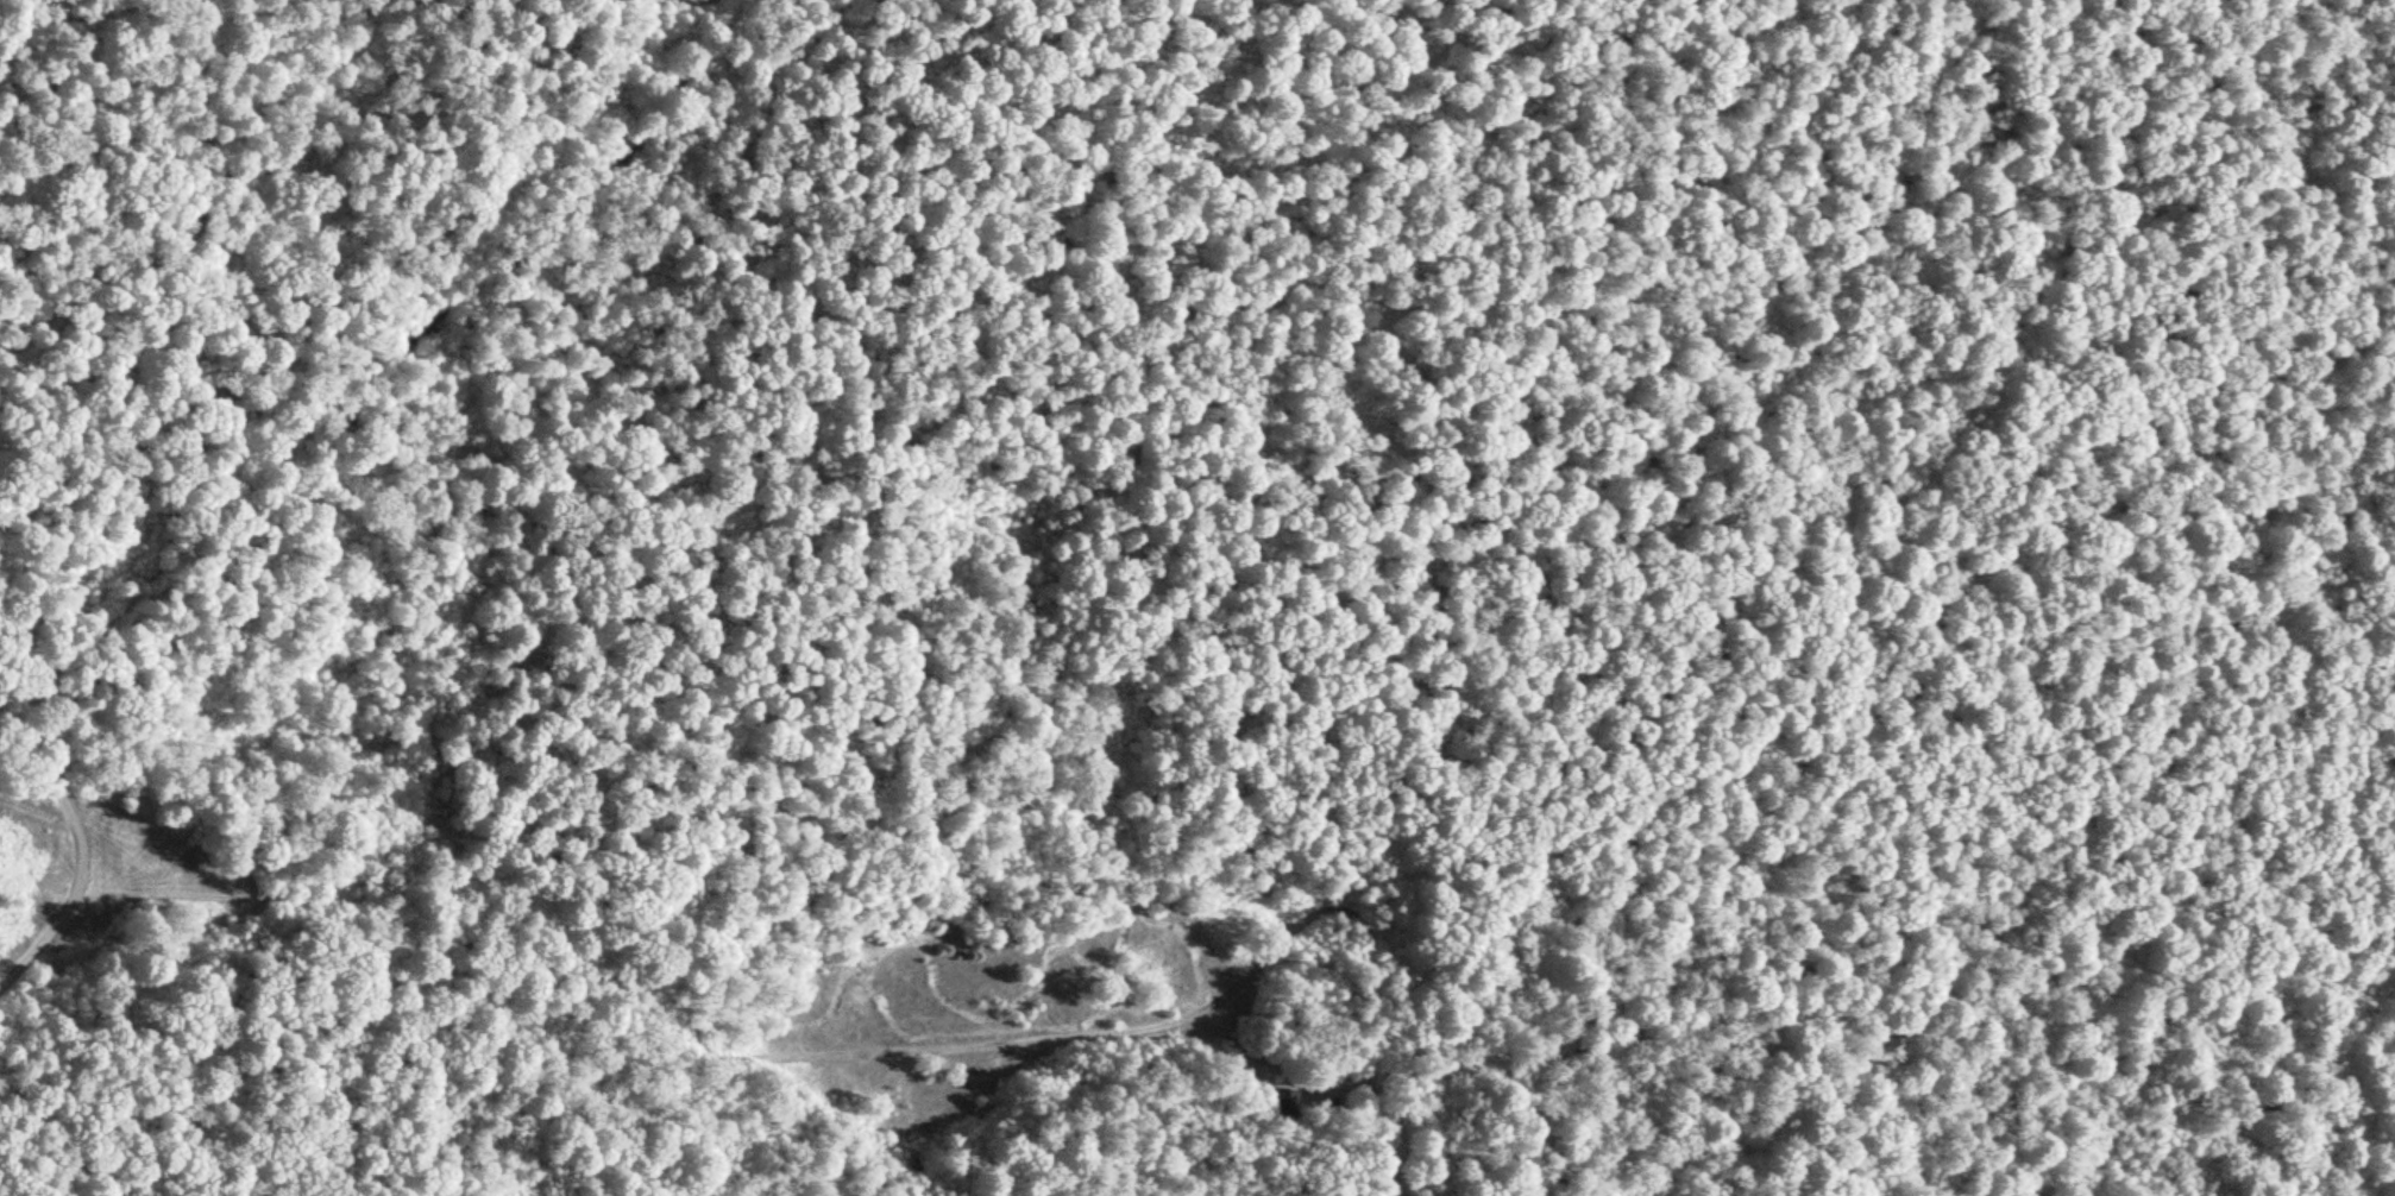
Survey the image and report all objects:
road: (428, 313)
road: (398, 316)
road: (58, 779)
road: (34, 811)
road: (1365, 890)
road: (715, 1051)
road: (1343, 1090)
building: (1283, 1102)

